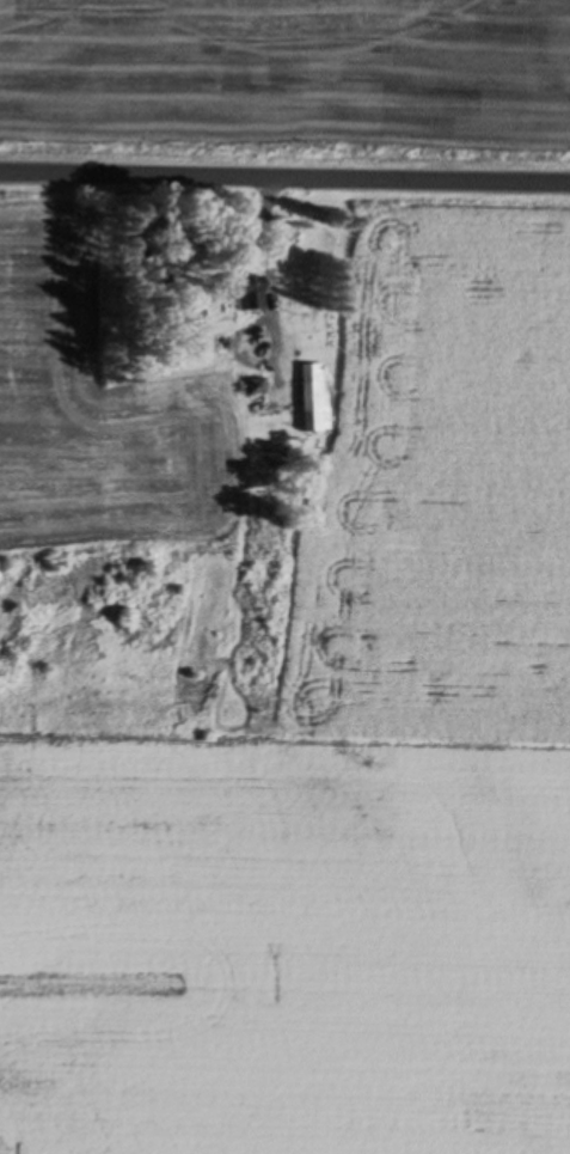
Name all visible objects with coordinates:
road: (284, 130)
building: (250, 293)
building: (256, 385)
building: (314, 398)

